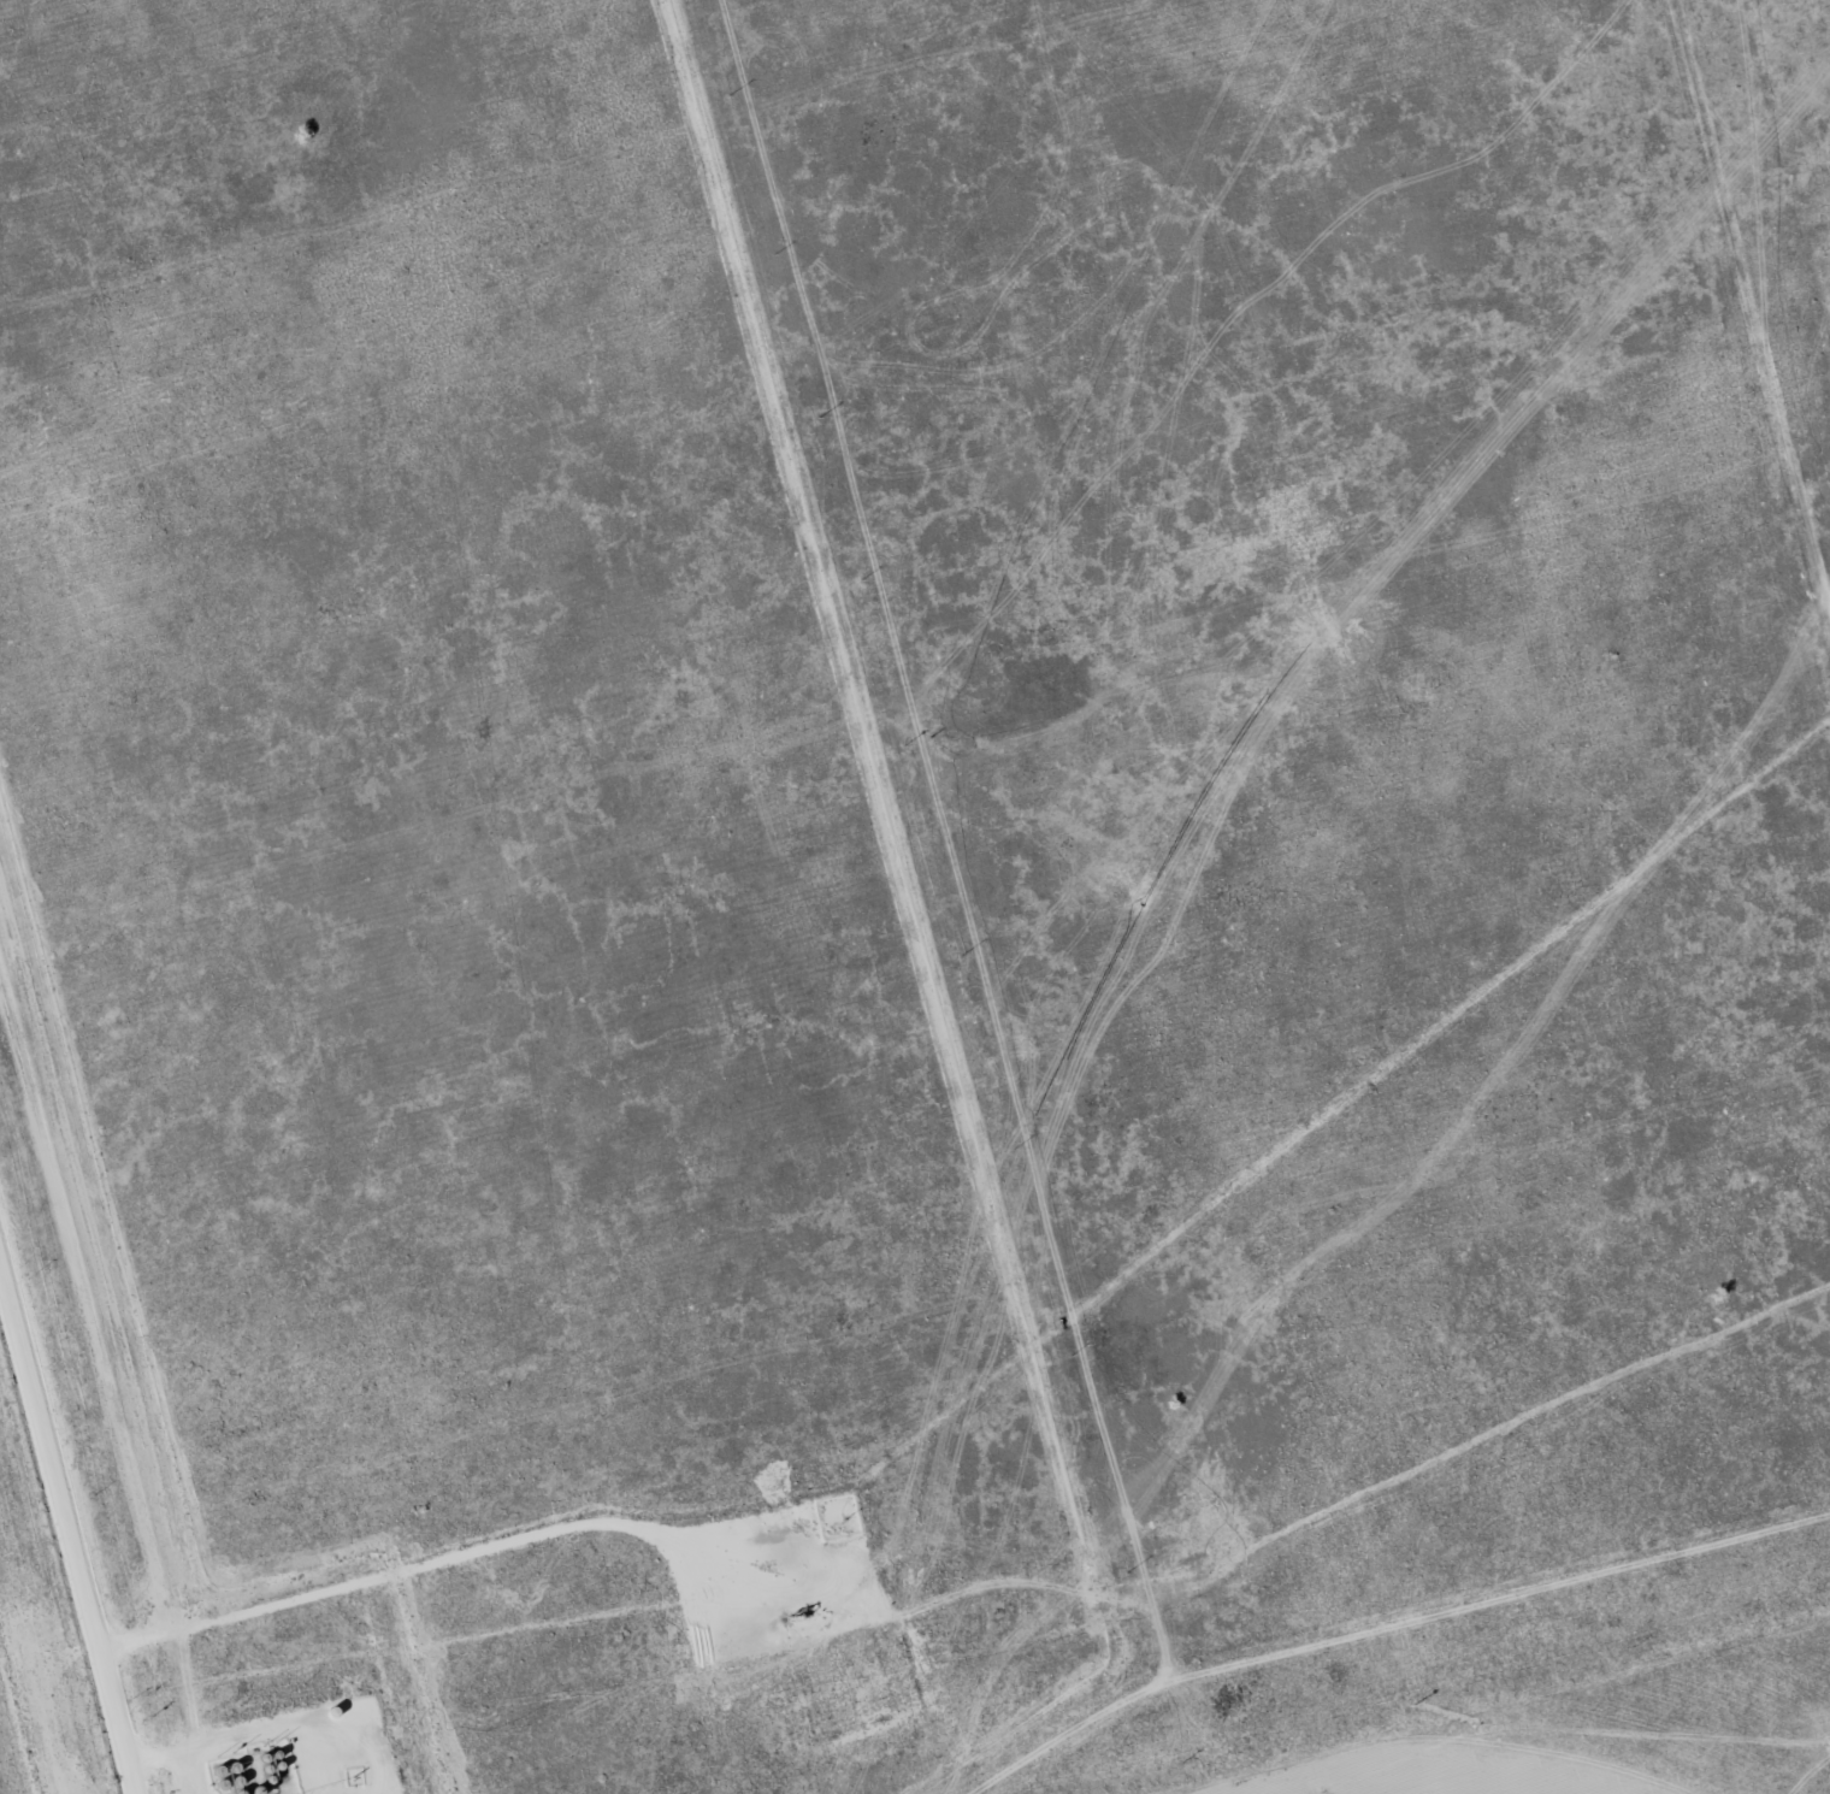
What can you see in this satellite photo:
road: (67, 1526)

